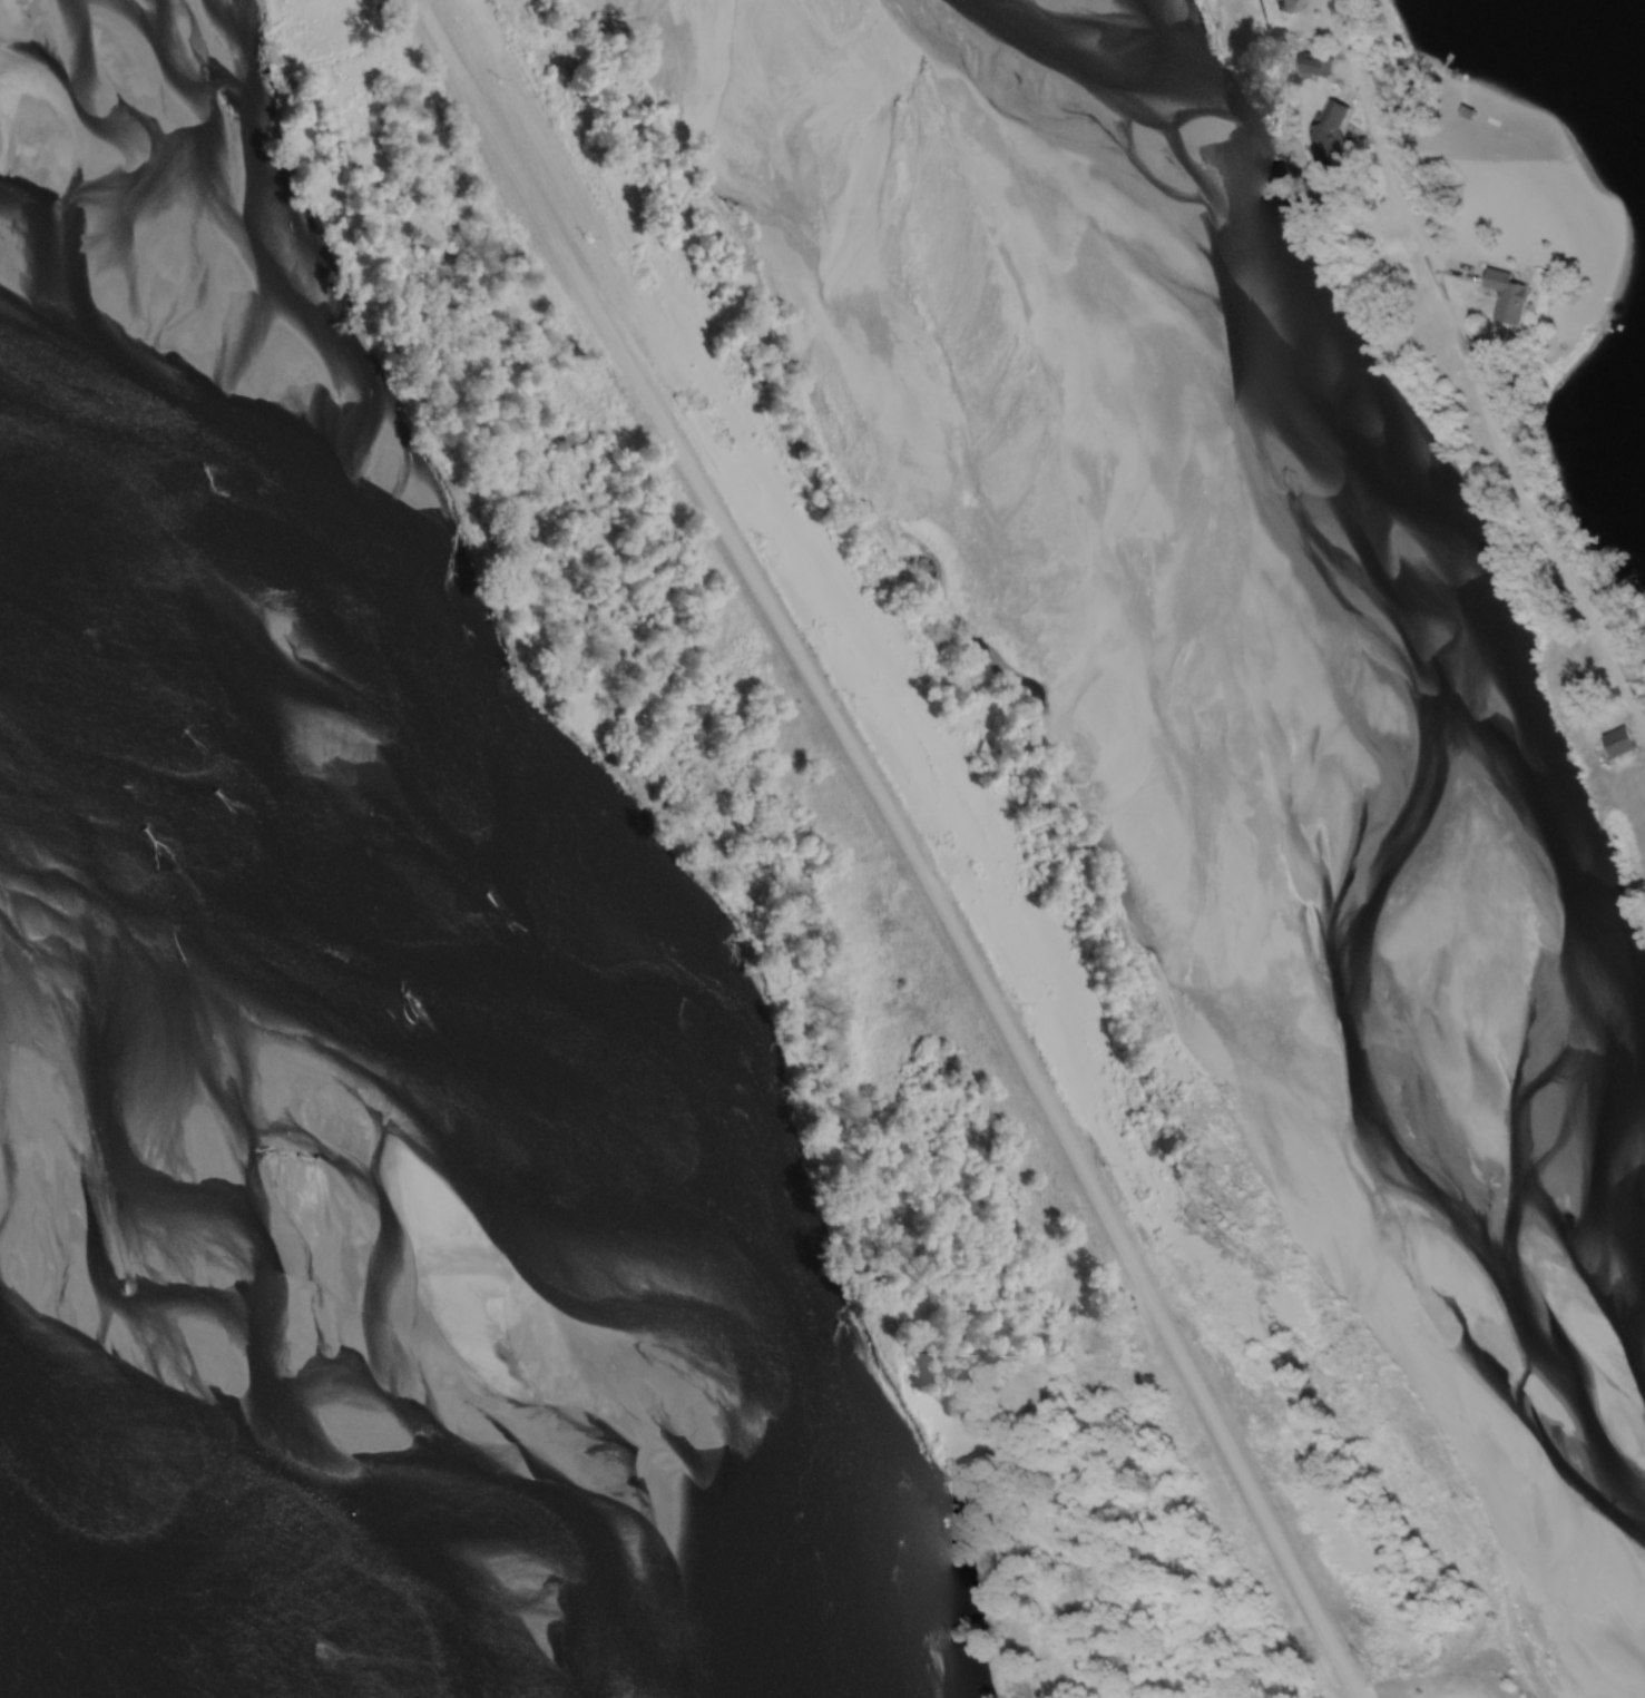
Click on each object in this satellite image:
building: (1333, 121)
building: (1509, 296)
road: (1473, 372)
river: (1282, 676)
building: (1618, 746)
road: (905, 840)
river: (255, 1054)
road: (1460, 1692)

